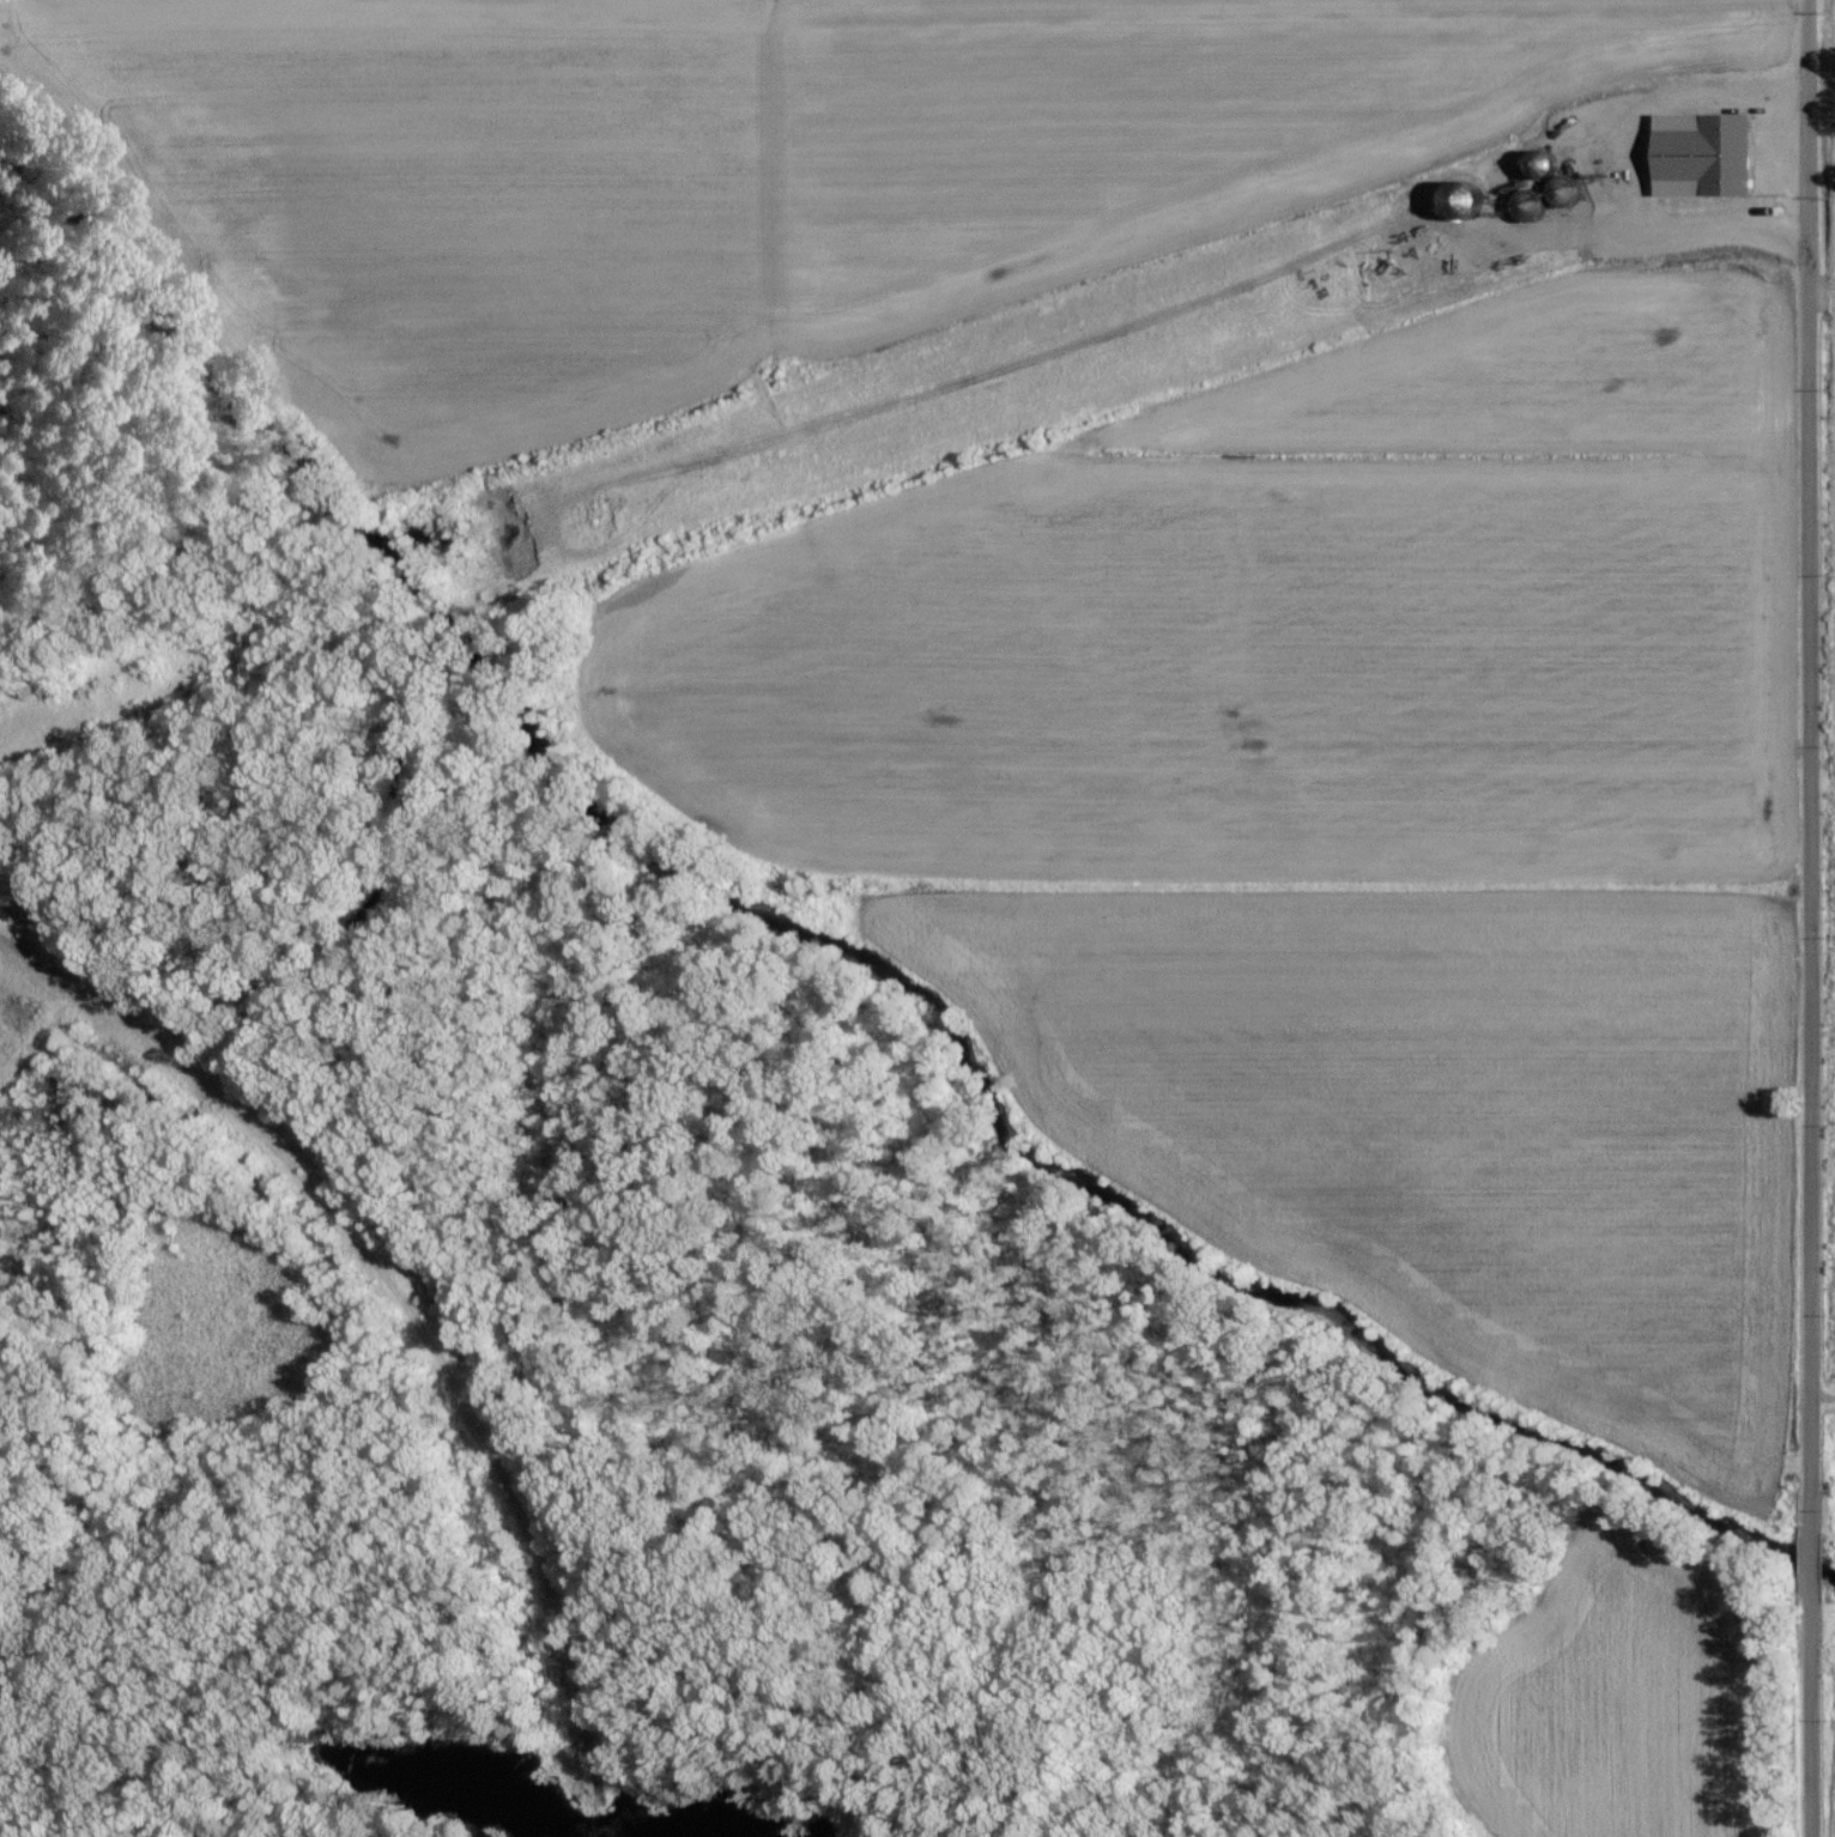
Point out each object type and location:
building: (1707, 153)
road: (1673, 223)
road: (1821, 286)
road: (1158, 323)
road: (1811, 917)

